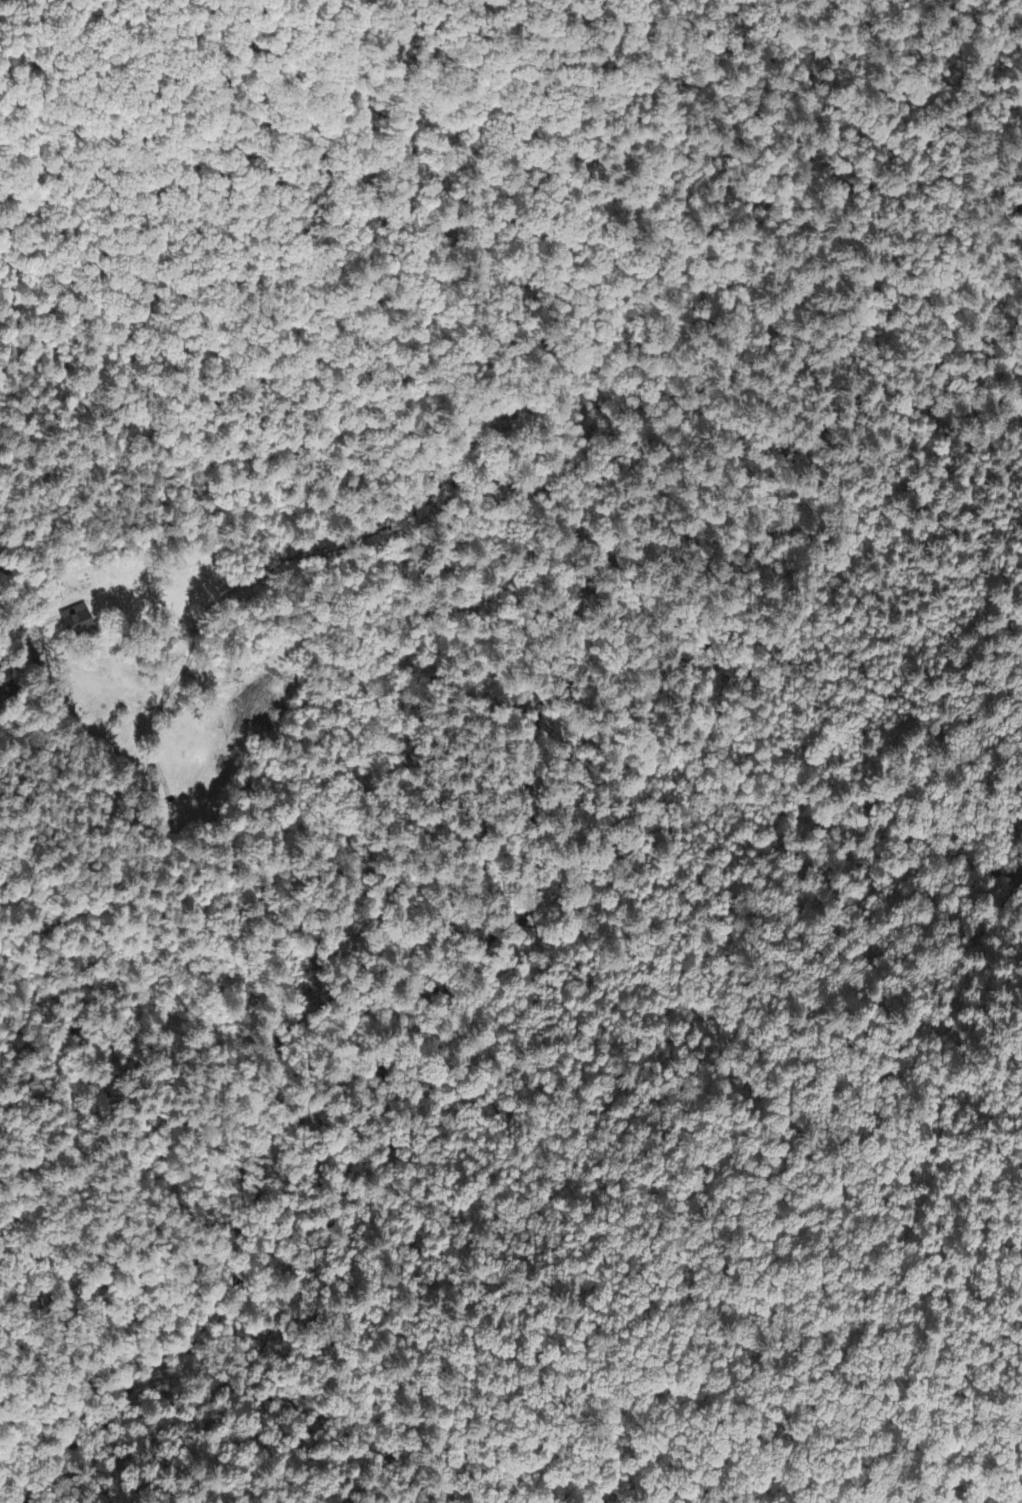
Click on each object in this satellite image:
building: (79, 620)
road: (67, 738)

